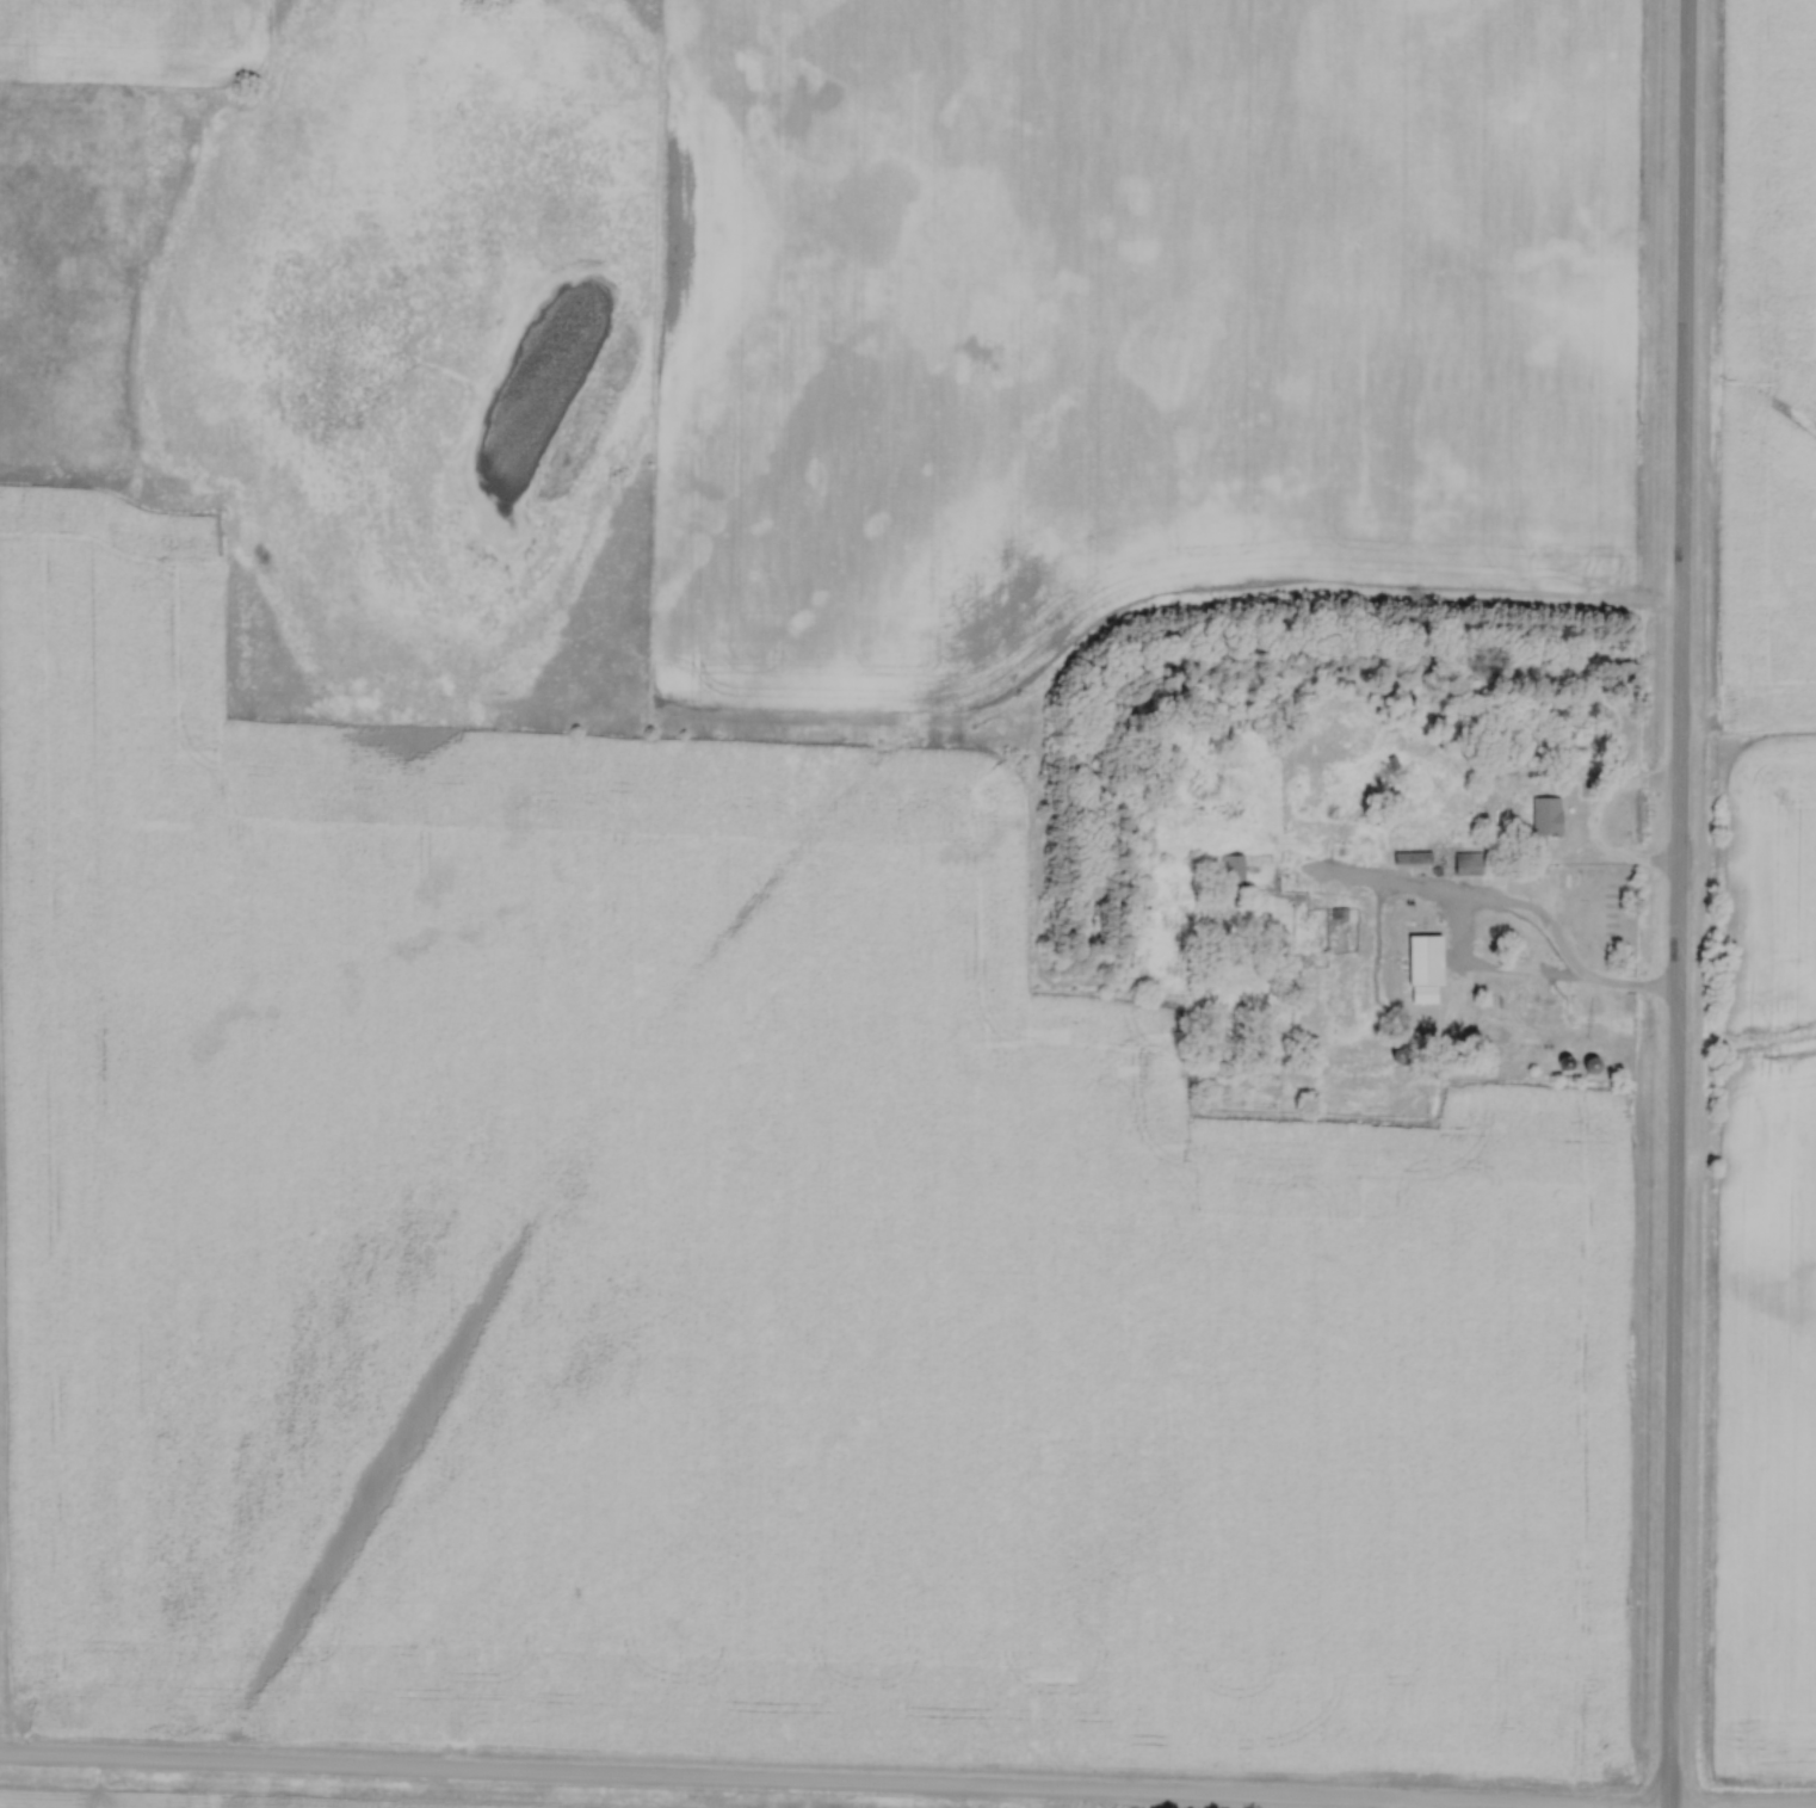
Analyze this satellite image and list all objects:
building: (1545, 816)
road: (1592, 826)
building: (1465, 862)
building: (1234, 865)
road: (1676, 903)
building: (1423, 959)
road: (740, 1783)
road: (1375, 1806)

